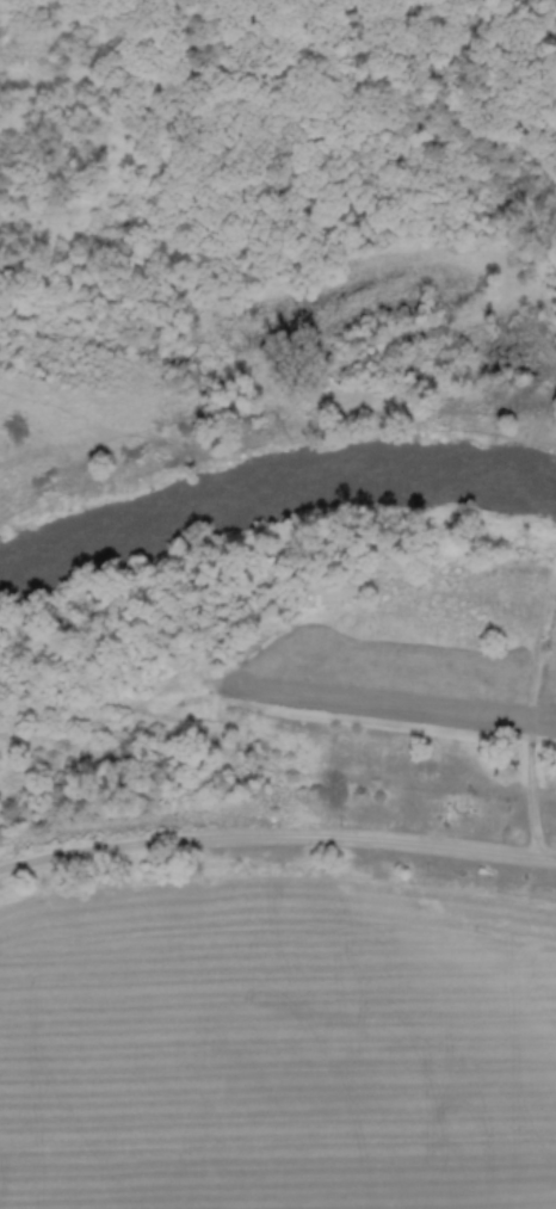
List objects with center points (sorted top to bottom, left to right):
river: (270, 483)

